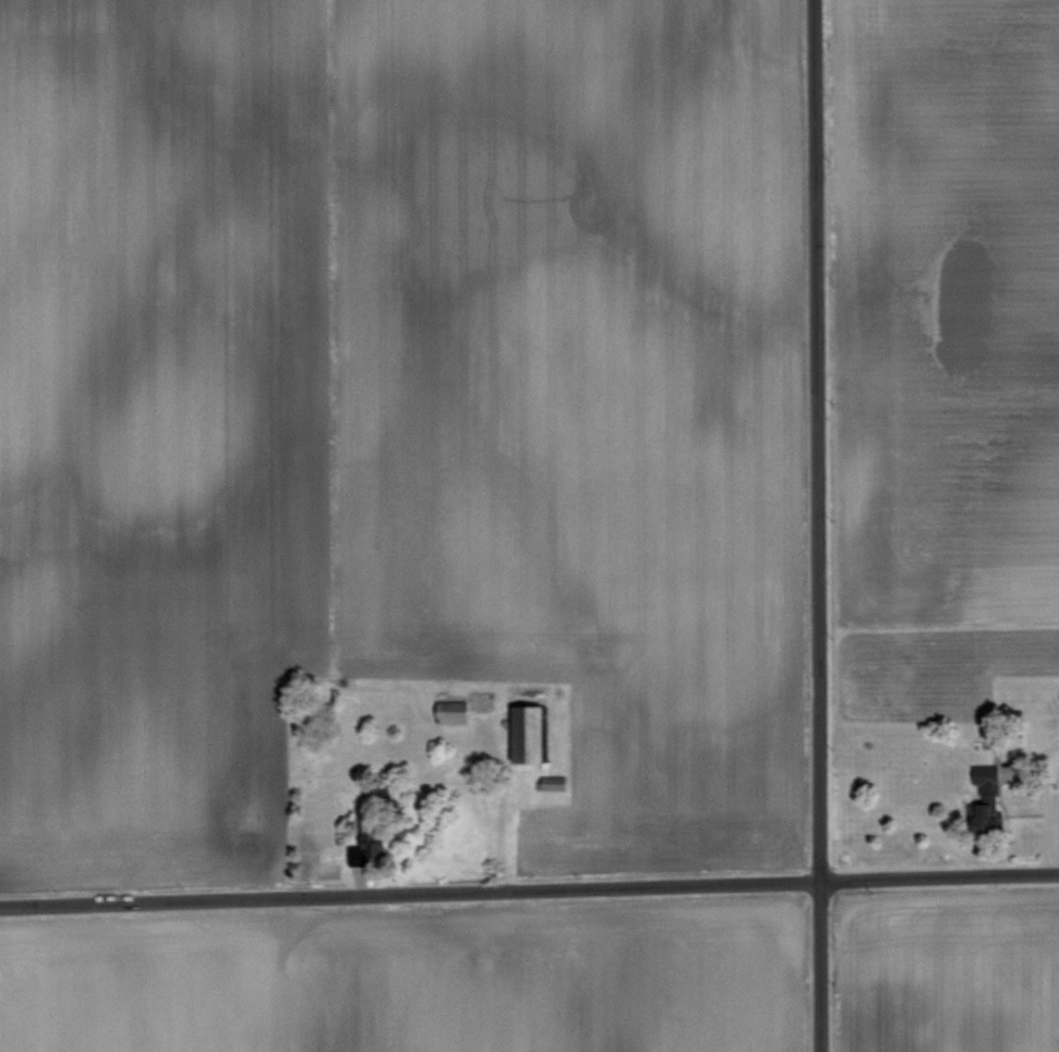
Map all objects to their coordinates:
road: (814, 525)
building: (518, 731)
road: (529, 890)

